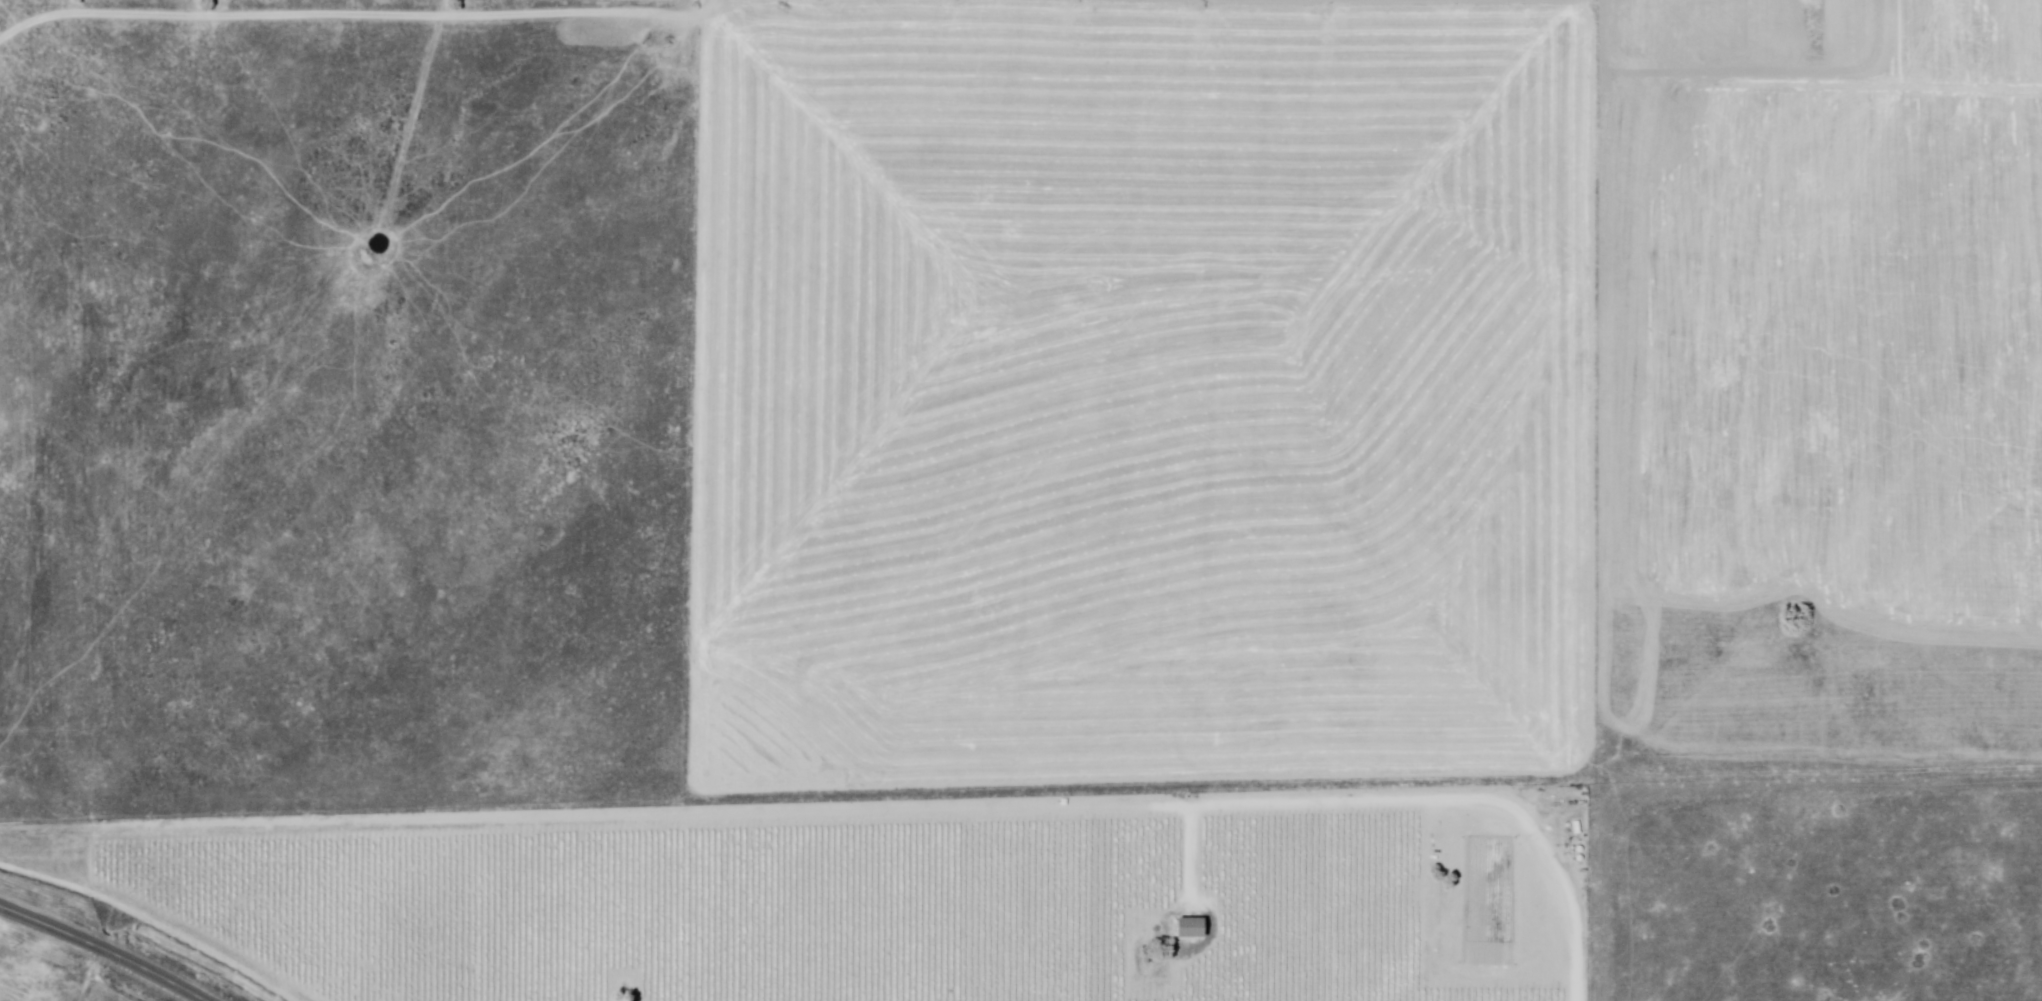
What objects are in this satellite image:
building: (1581, 876)
building: (1189, 927)
road: (99, 954)

